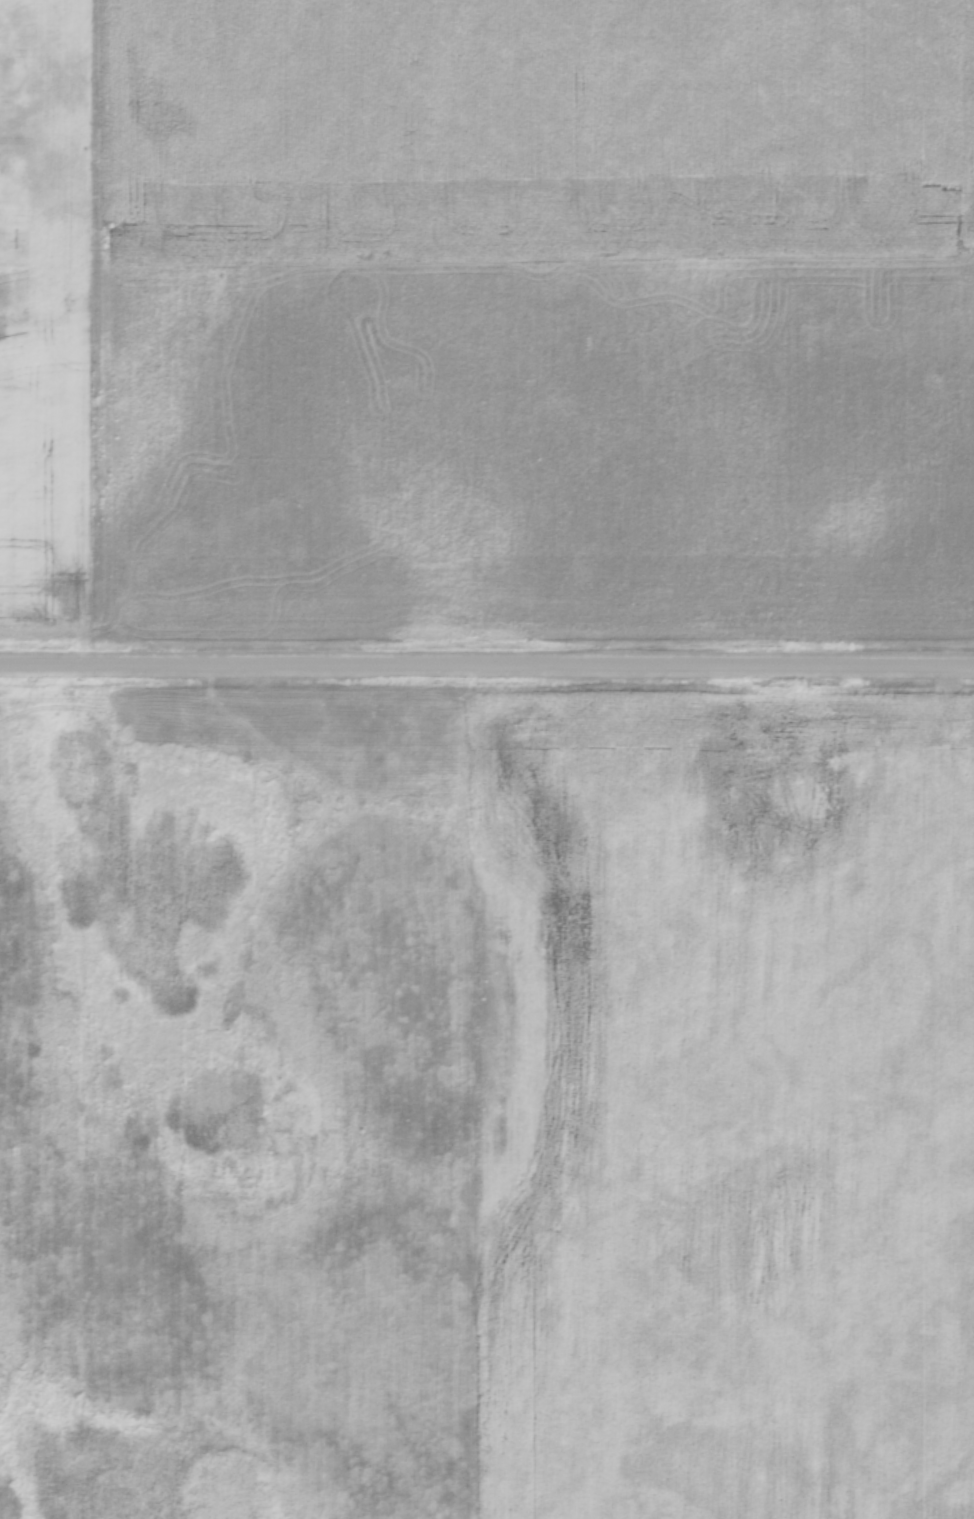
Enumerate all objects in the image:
road: (487, 662)

